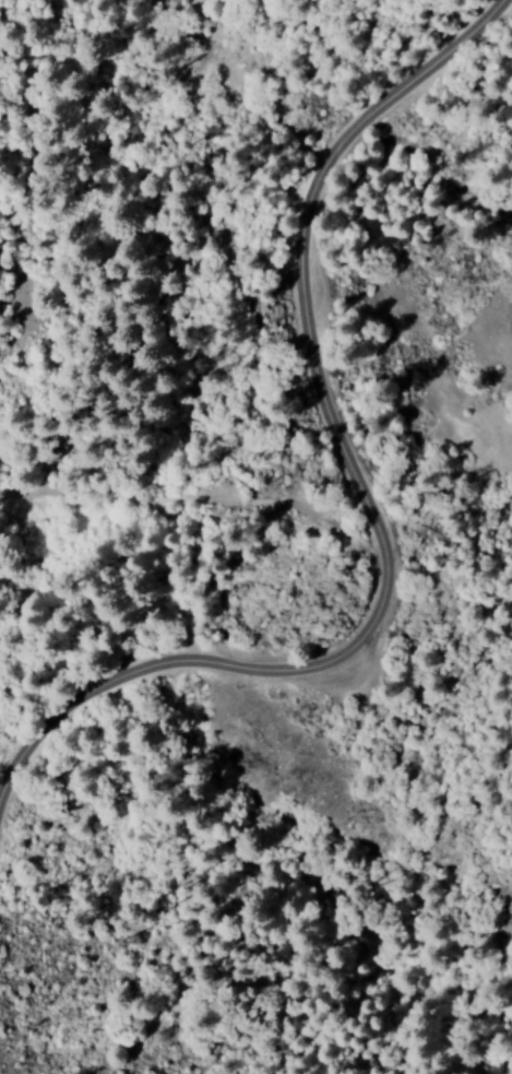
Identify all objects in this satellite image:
road: (372, 498)

